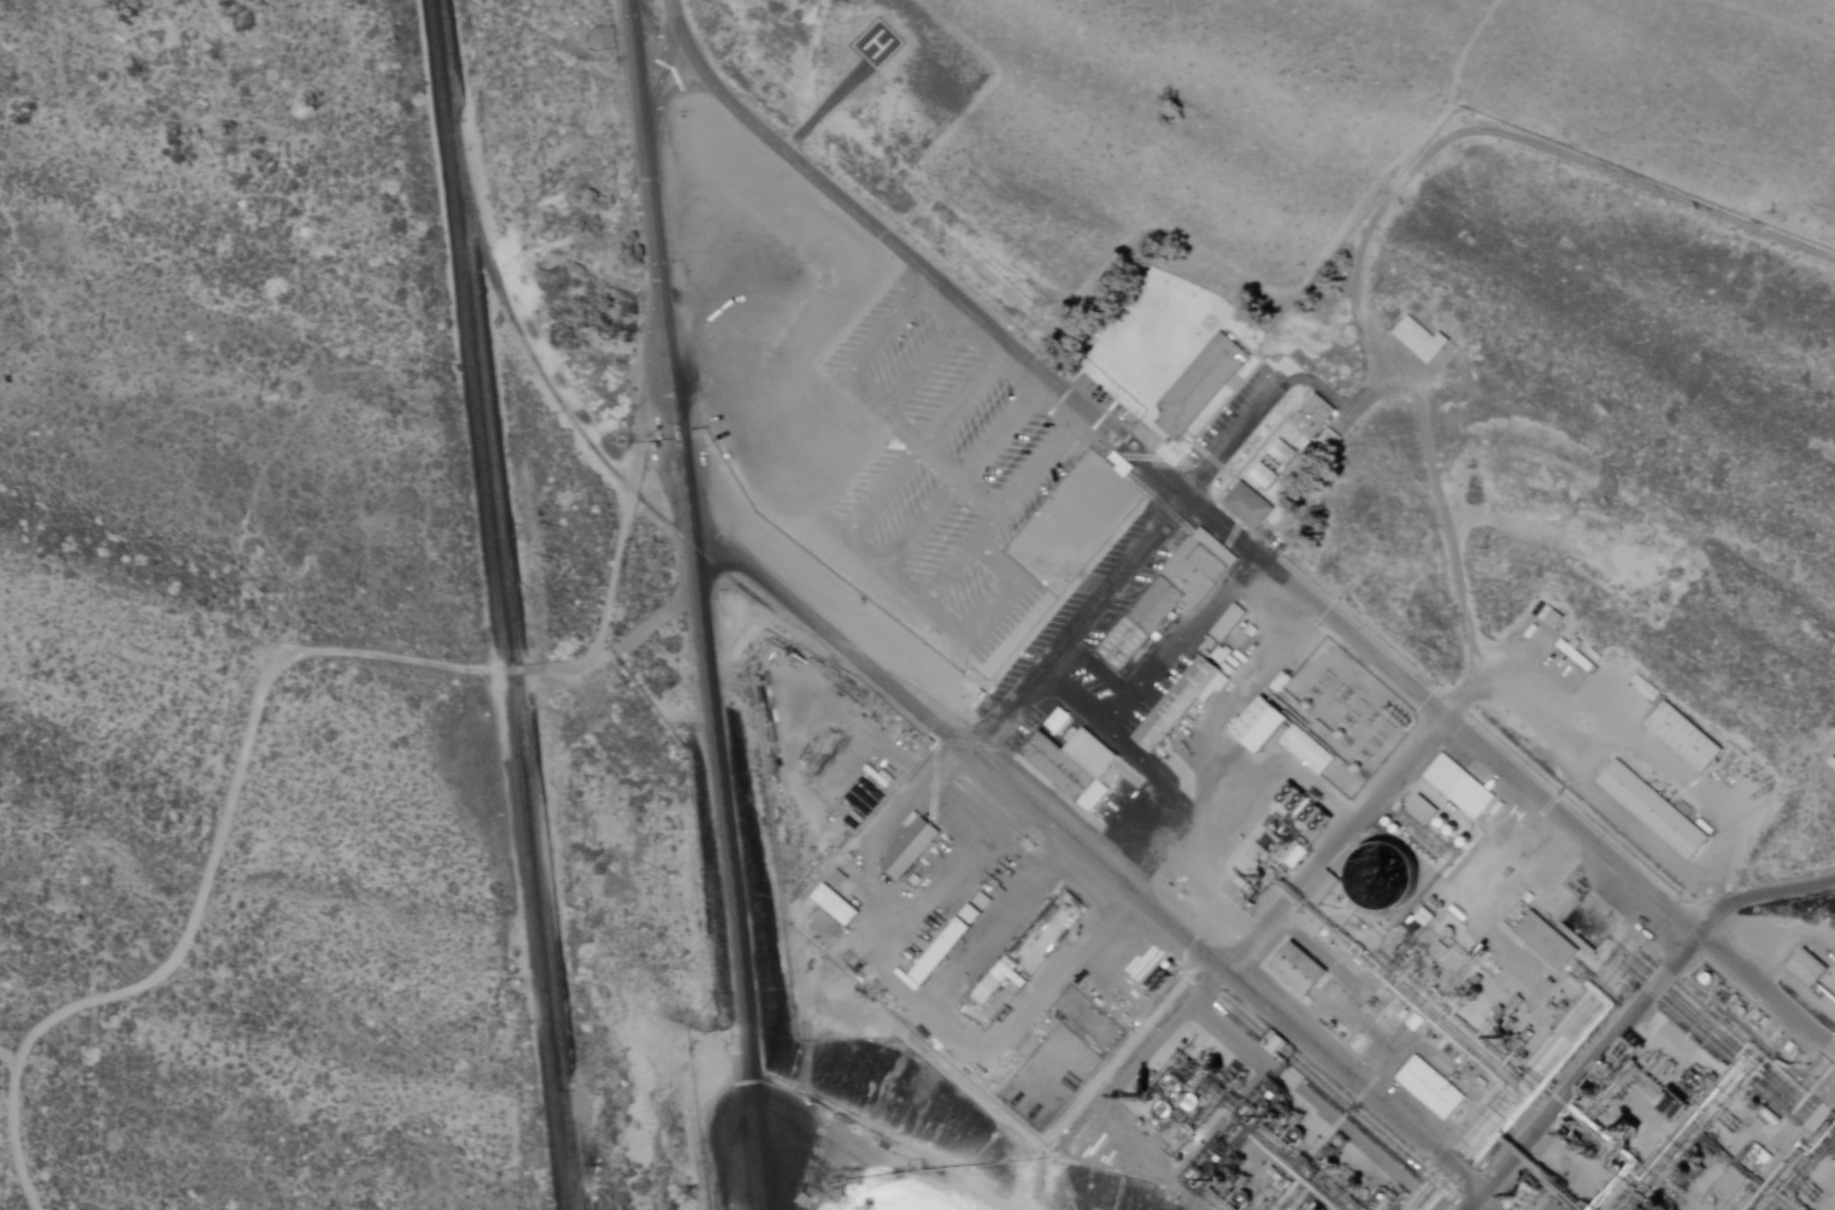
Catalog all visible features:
helipad: (880, 43)
road: (829, 106)
road: (912, 259)
building: (1419, 340)
building: (1200, 386)
building: (1315, 417)
building: (1327, 440)
building: (1283, 453)
building: (1121, 463)
building: (1264, 478)
road: (1439, 488)
building: (1248, 506)
road: (1118, 569)
building: (1168, 599)
railway: (501, 604)
railway: (512, 605)
road: (702, 605)
railway: (760, 605)
building: (1229, 625)
park: (214, 638)
building: (1243, 650)
road: (293, 654)
building: (1176, 706)
road: (1439, 716)
building: (1259, 721)
power substation: (1339, 721)
building: (1058, 722)
building: (1682, 736)
building: (1307, 752)
building: (1829, 753)
building: (1833, 764)
building: (1081, 769)
building: (1463, 792)
building: (1653, 810)
building: (1422, 811)
building: (913, 850)
building: (1378, 873)
building: (839, 877)
building: (916, 879)
building: (1322, 889)
building: (984, 899)
road: (1760, 899)
building: (835, 903)
building: (971, 911)
building: (1547, 944)
building: (943, 952)
building: (930, 956)
building: (1805, 969)
building: (1298, 970)
road: (1222, 974)
building: (998, 980)
road: (1766, 993)
building: (1430, 1089)
railway: (567, 1151)
road: (1476, 1204)

